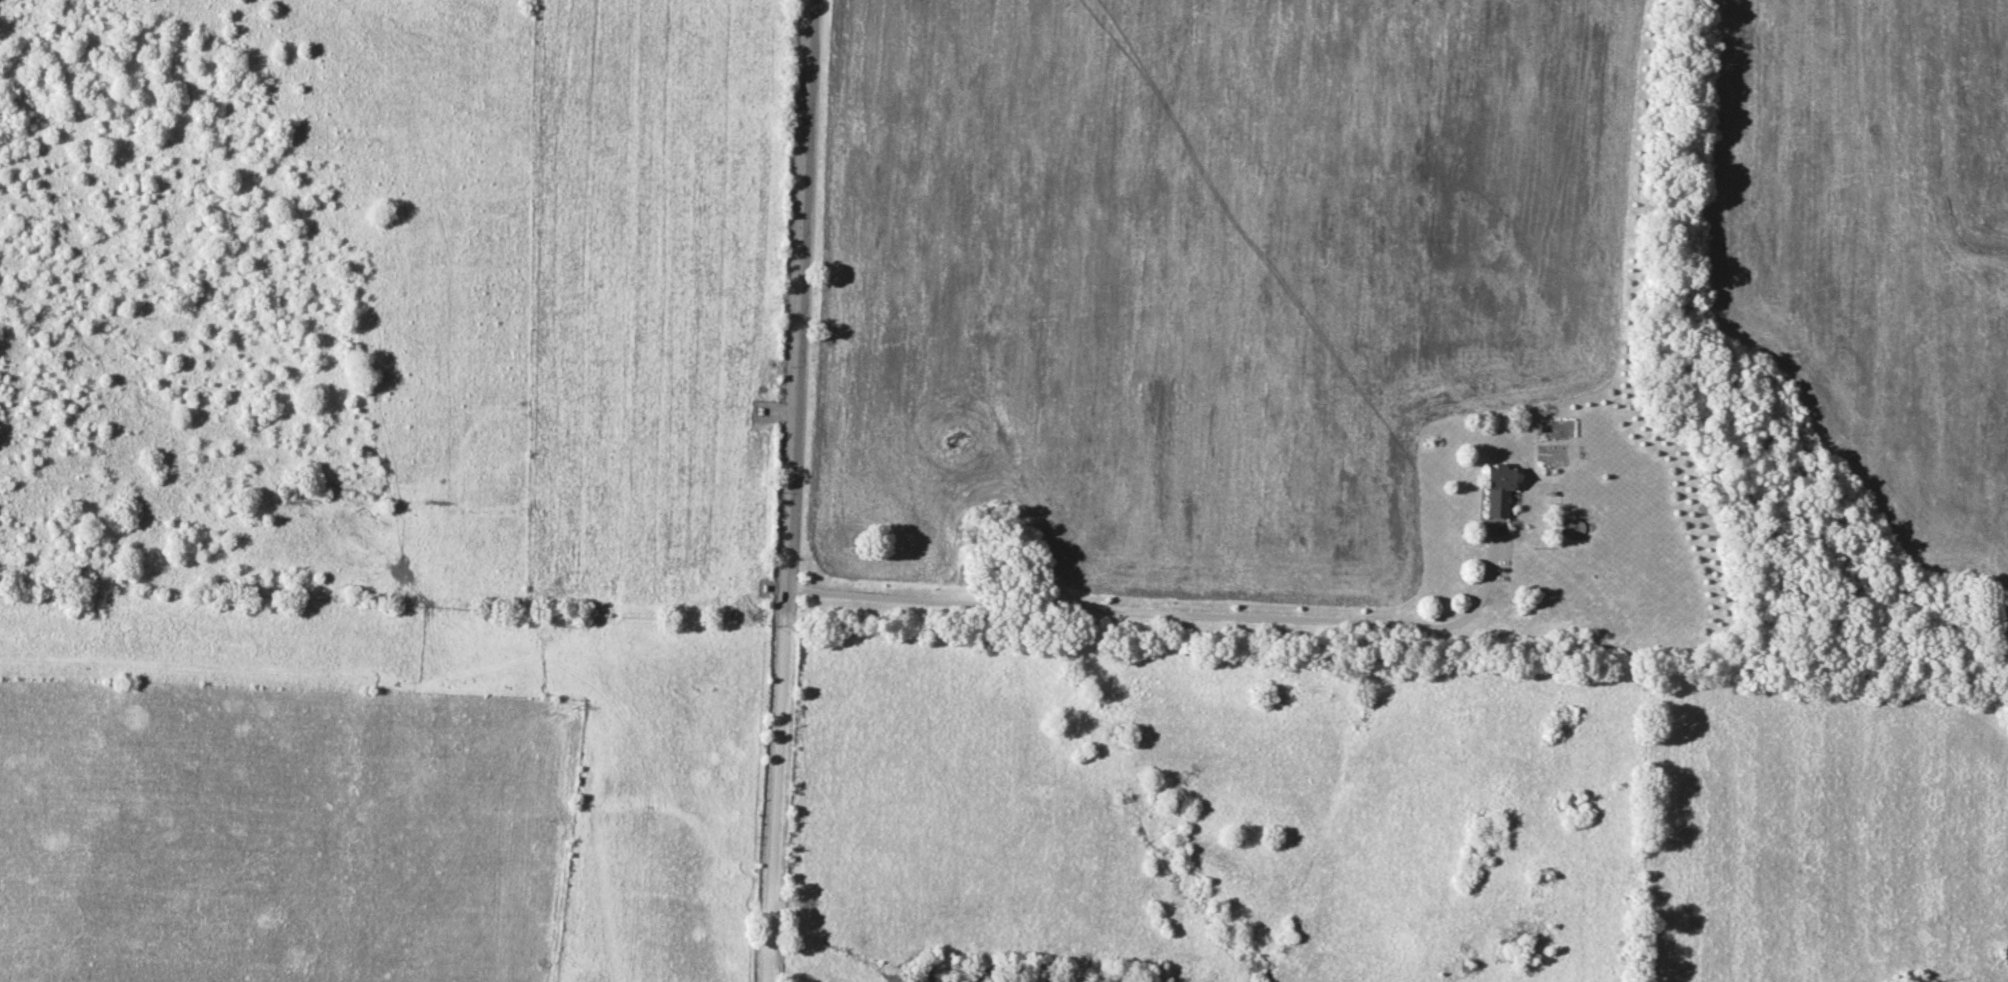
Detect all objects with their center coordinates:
crop: (654, 303)
building: (762, 411)
road: (791, 491)
building: (1497, 492)
road: (1171, 613)
building: (2005, 952)

